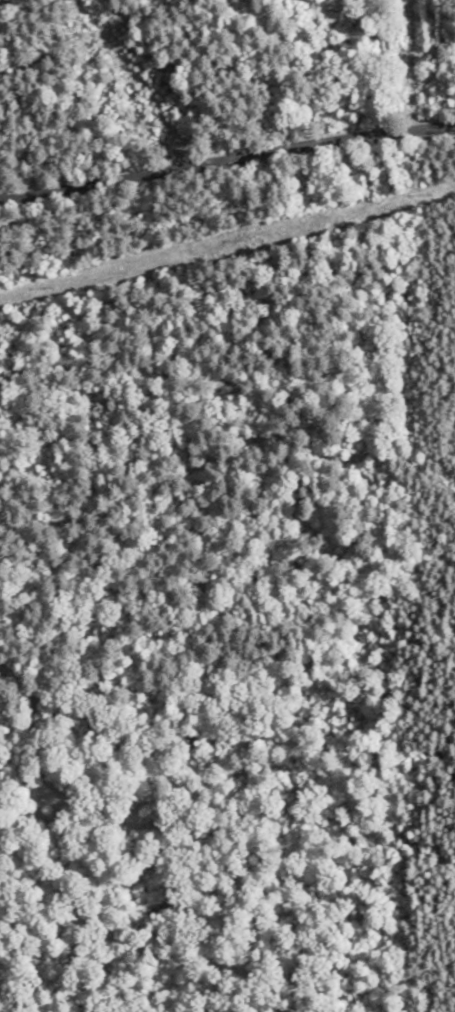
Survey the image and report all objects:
road: (226, 160)

